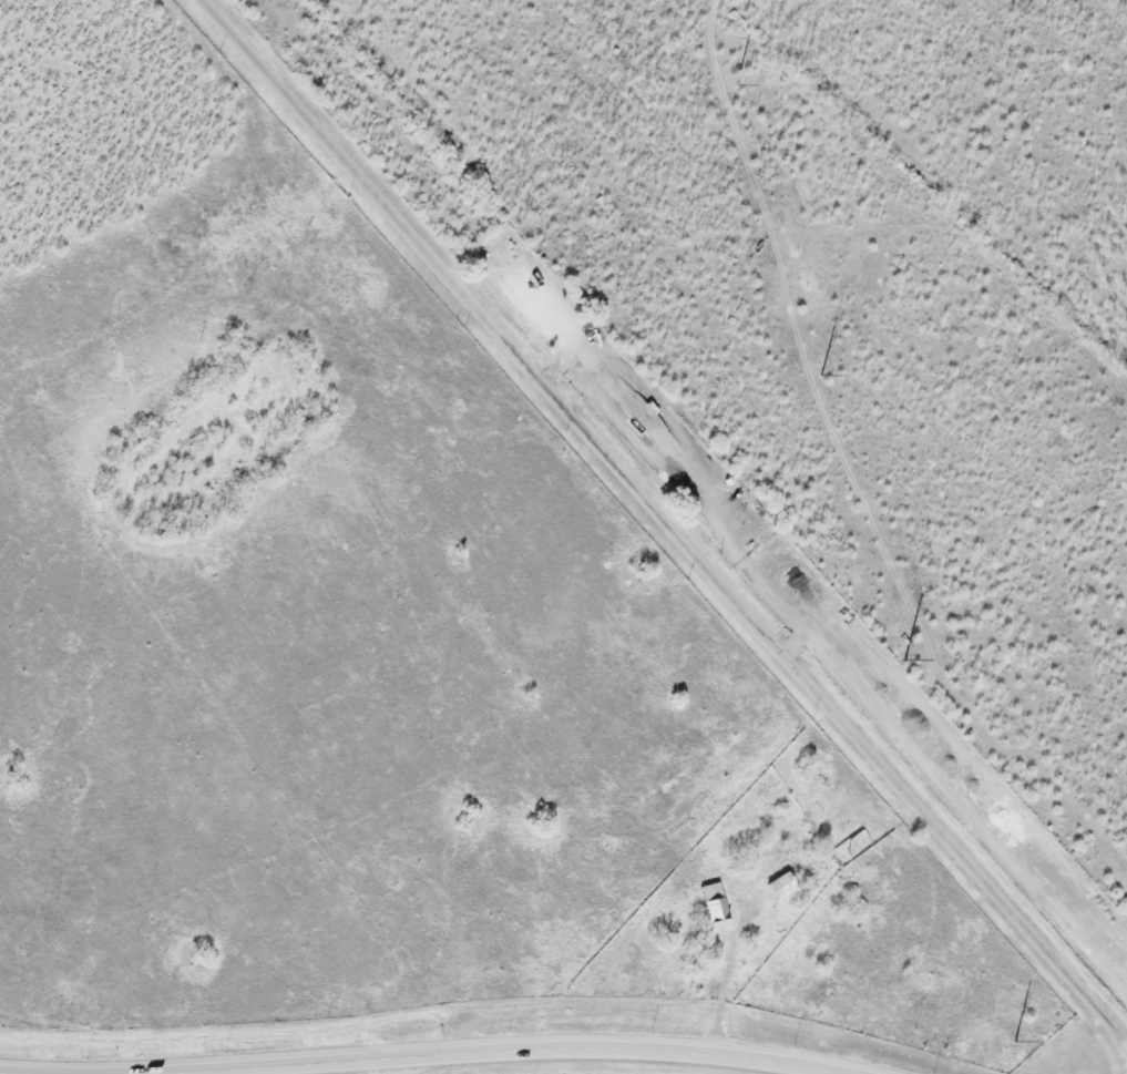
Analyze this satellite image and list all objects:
power tower: (735, 85)
power tower: (820, 376)
road: (664, 521)
power tower: (903, 661)
building: (780, 888)
building: (711, 904)
power tower: (1014, 1041)
road: (474, 1055)

